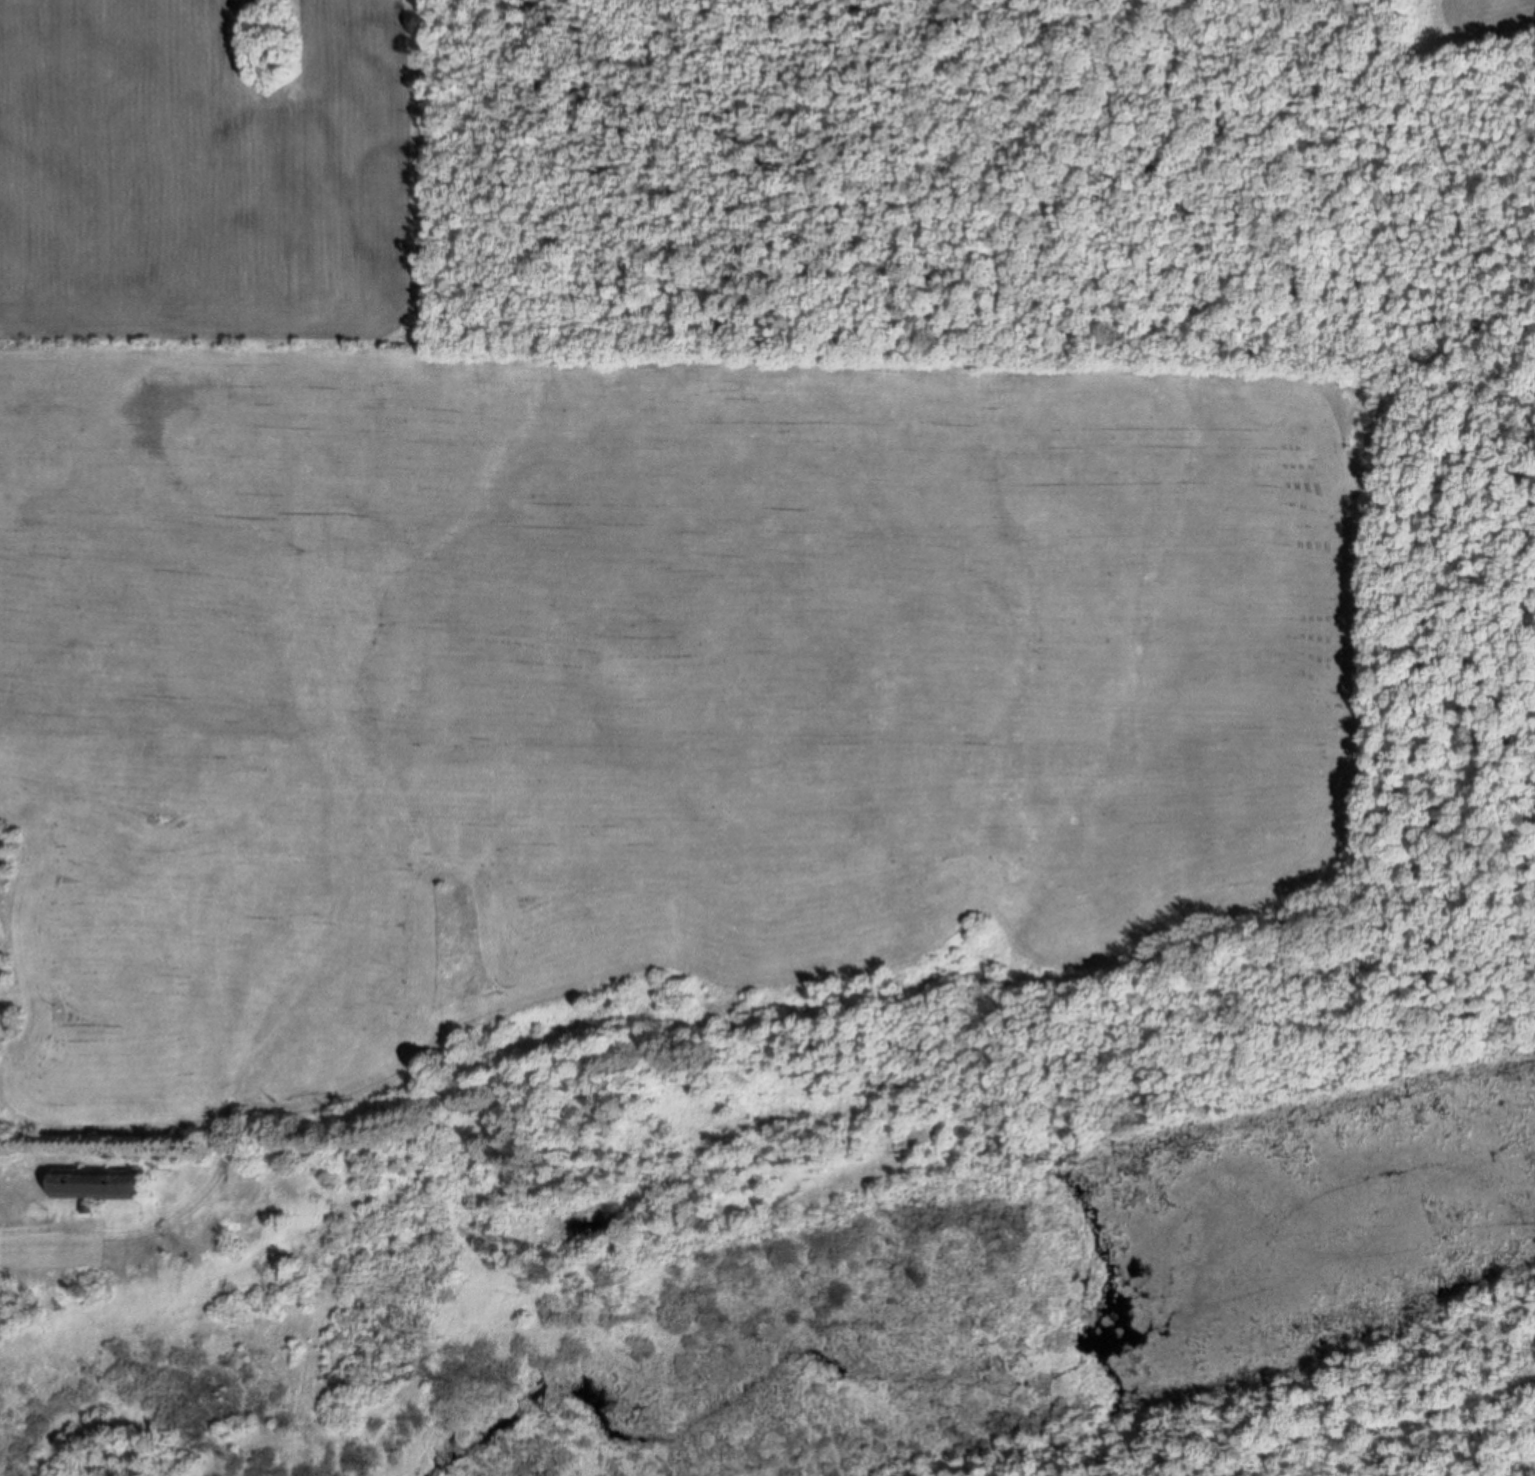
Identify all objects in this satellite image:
building: (104, 1189)

